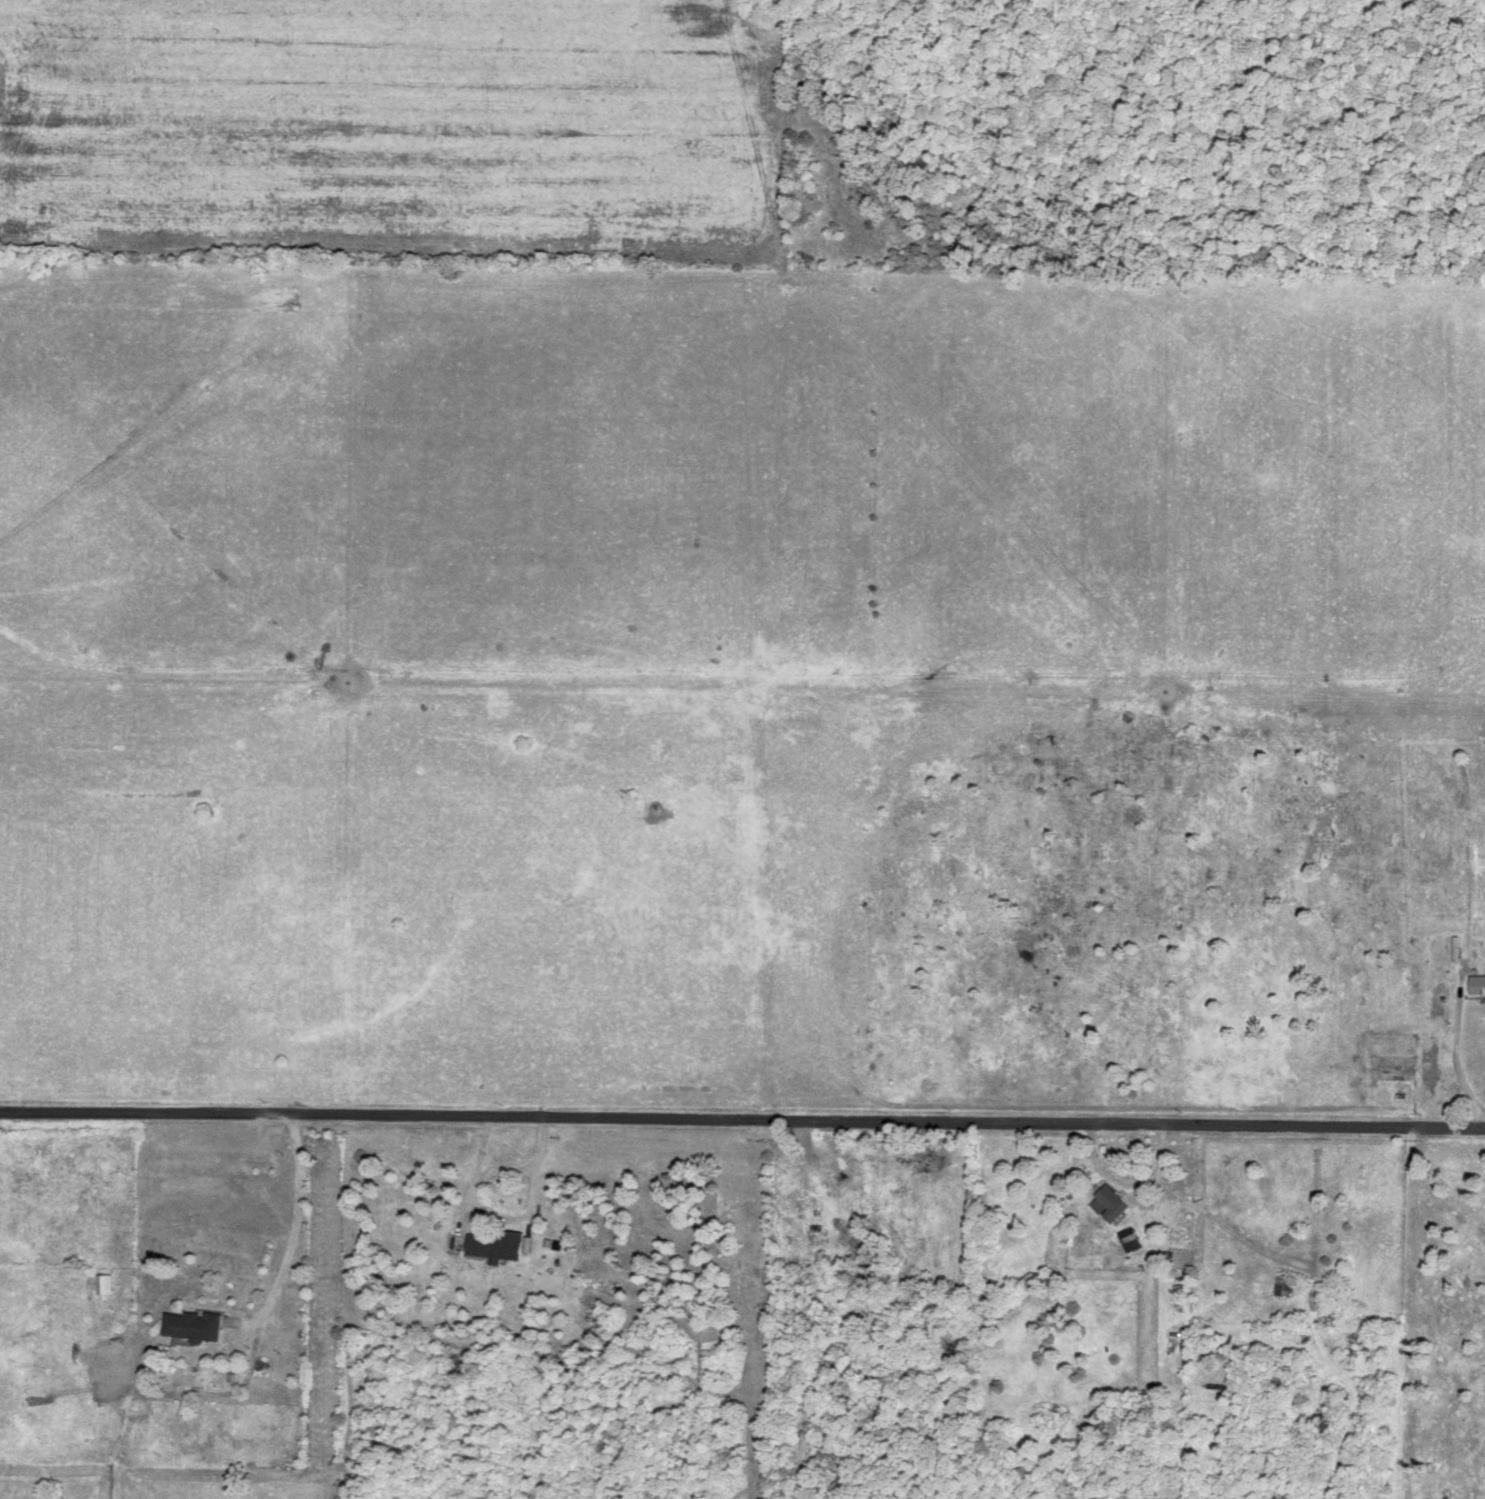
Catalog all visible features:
building: (1475, 986)
road: (1456, 1059)
road: (742, 1122)
road: (504, 1168)
building: (840, 1201)
building: (1106, 1205)
road: (503, 1217)
road: (291, 1236)
building: (1127, 1241)
building: (492, 1247)
building: (590, 1284)
building: (102, 1285)
building: (1281, 1288)
building: (188, 1327)

